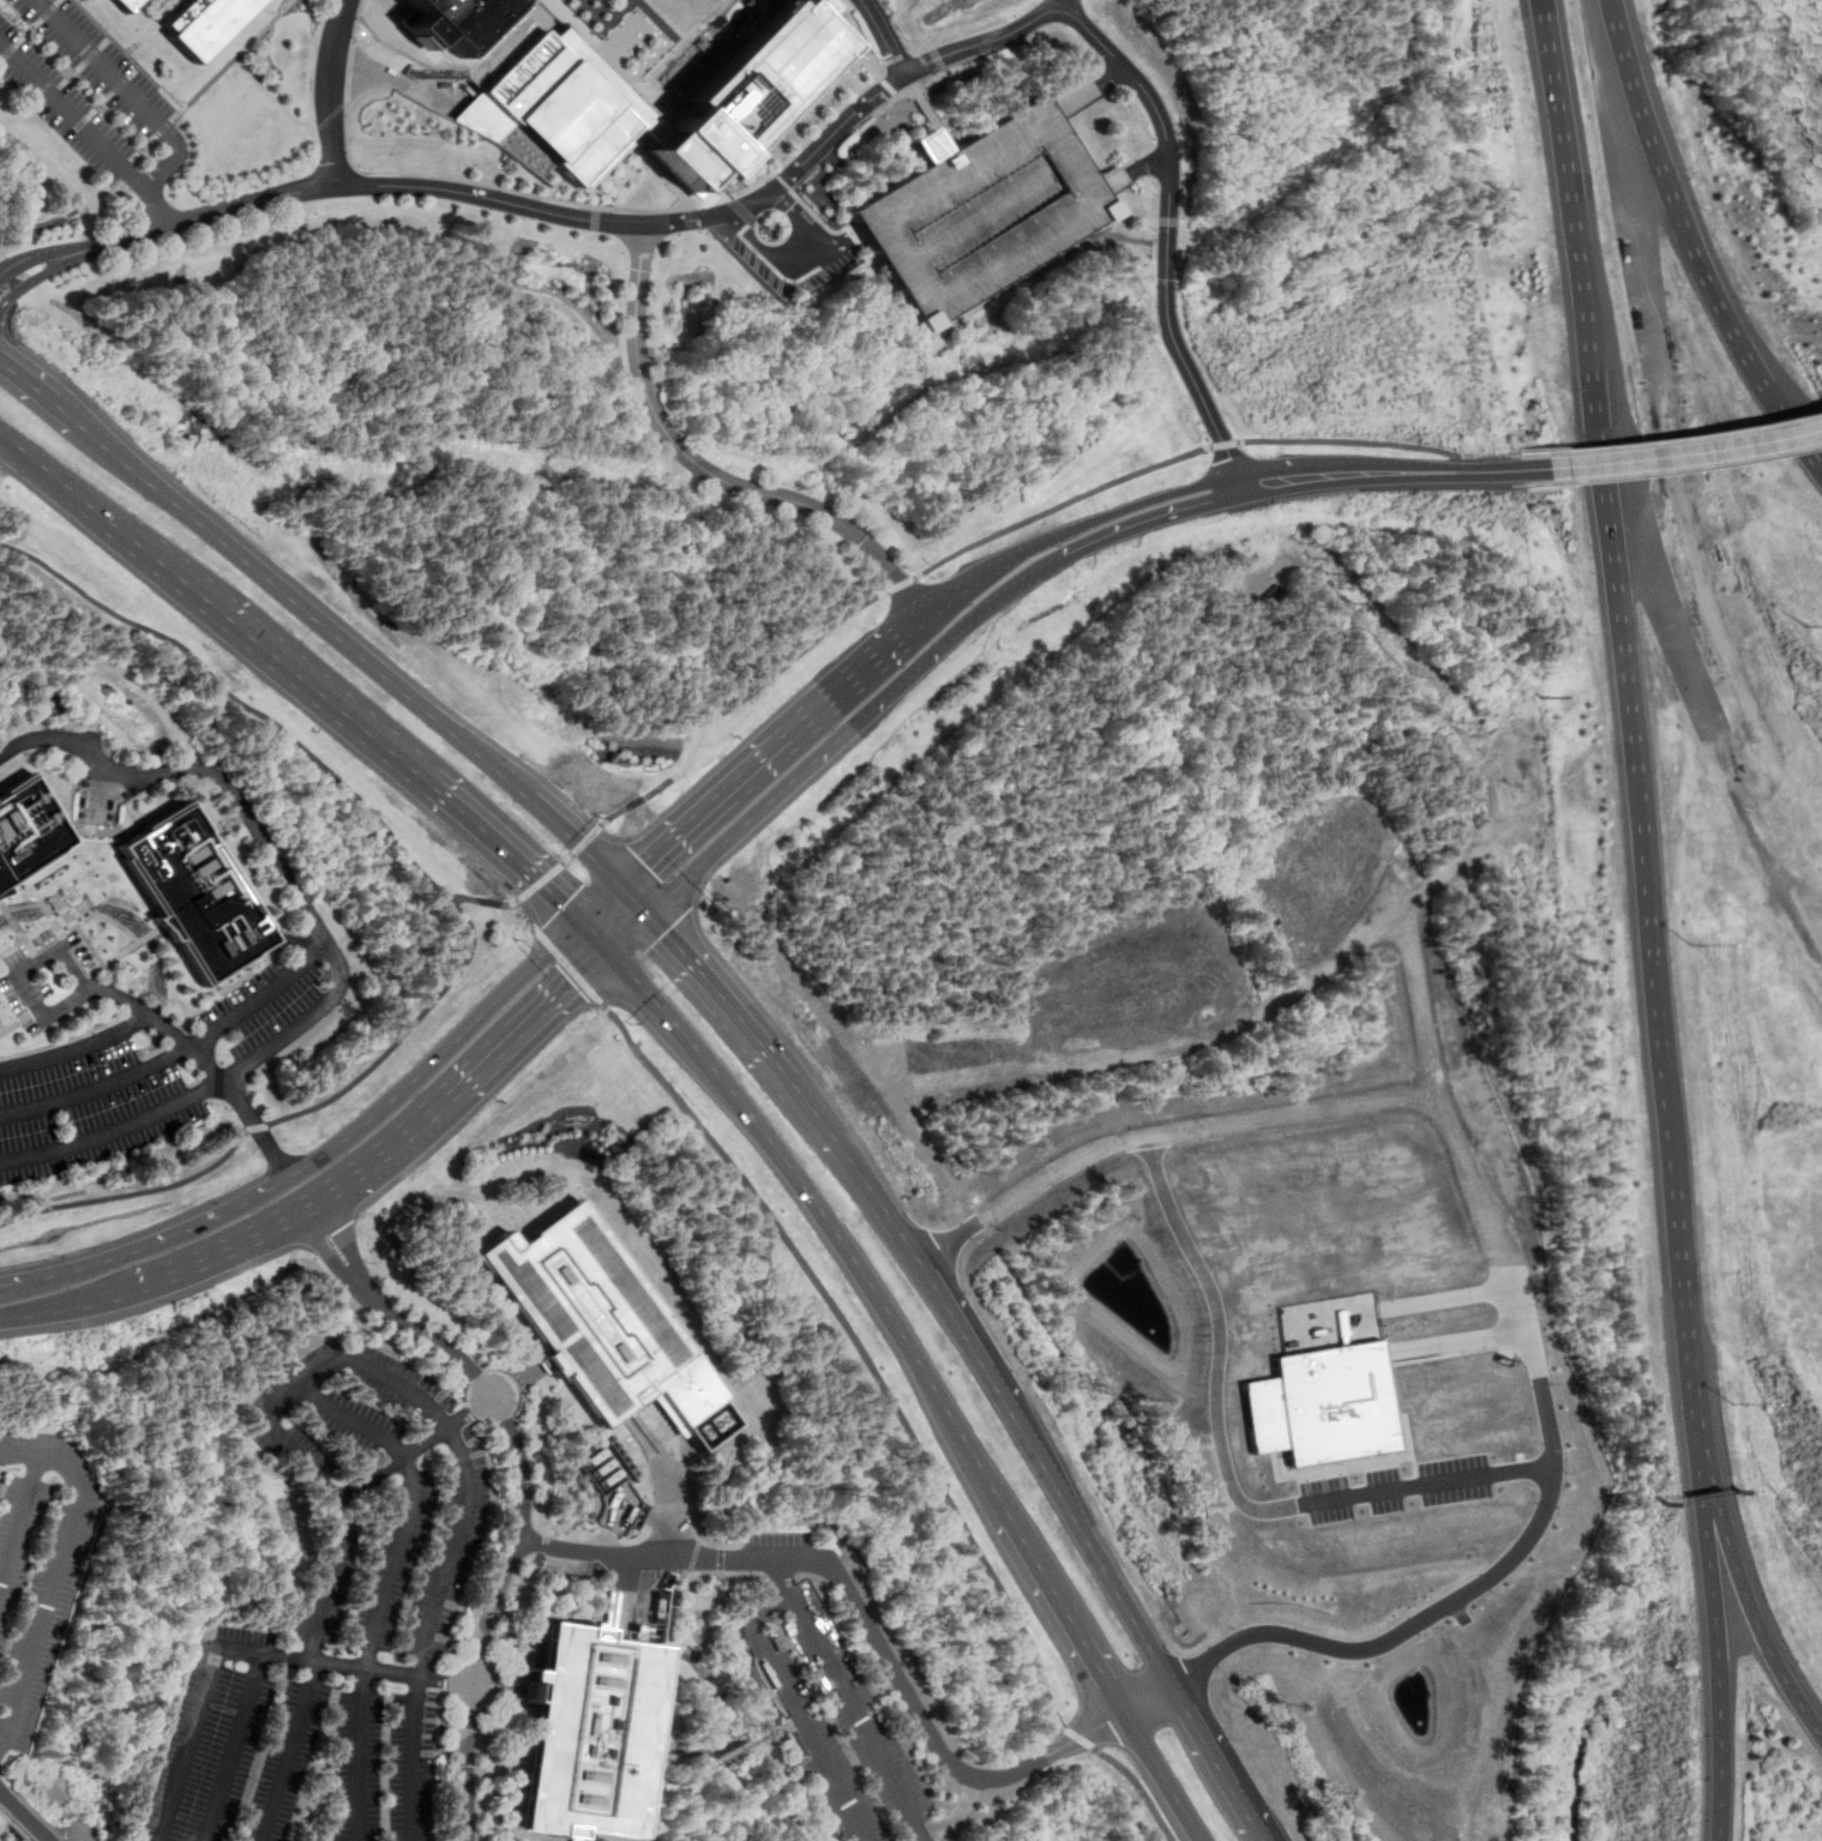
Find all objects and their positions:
building: (125, 5)
building: (456, 20)
building: (203, 22)
road: (883, 38)
parking lot: (82, 82)
road: (126, 89)
road: (335, 90)
building: (745, 96)
road: (1561, 97)
building: (561, 109)
road: (86, 126)
road: (1136, 172)
building: (981, 211)
parking lot: (981, 211)
road: (603, 219)
road: (1167, 231)
road: (1696, 237)
road: (840, 241)
road: (796, 252)
road: (42, 254)
road: (42, 276)
road: (1694, 435)
road: (1364, 441)
road: (1219, 444)
road: (1691, 451)
road: (1531, 453)
road: (1694, 464)
road: (705, 468)
road: (1509, 468)
road: (1379, 471)
road: (1271, 480)
road: (1537, 482)
road: (1056, 504)
road: (1151, 517)
road: (898, 582)
road: (996, 600)
street lamp: (1815, 624)
road: (331, 627)
road: (902, 631)
road: (294, 668)
road: (734, 700)
road: (790, 781)
road: (73, 789)
road: (126, 804)
road: (1646, 805)
road: (366, 807)
building: (28, 830)
road: (587, 838)
road: (567, 859)
traffic signals: (645, 862)
road: (540, 883)
building: (194, 892)
road: (601, 898)
road: (483, 901)
traffic signals: (565, 901)
road: (102, 912)
road: (512, 918)
road: (17, 922)
road: (122, 925)
road: (38, 929)
traffic signals: (666, 929)
road: (324, 935)
street lamp: (1697, 943)
road: (13, 945)
road: (41, 962)
road: (565, 963)
traffic signals: (573, 981)
road: (269, 988)
road: (1429, 998)
road: (160, 1001)
road: (80, 1022)
road: (13, 1024)
road: (2, 1031)
road: (199, 1039)
road: (64, 1041)
road: (1187, 1042)
road: (77, 1049)
parking lot: (139, 1051)
road: (97, 1088)
road: (257, 1126)
road: (259, 1129)
road: (115, 1131)
road: (341, 1145)
road: (359, 1173)
road: (132, 1192)
road: (452, 1221)
road: (1508, 1239)
road: (19, 1282)
road: (1445, 1296)
building: (585, 1311)
road: (1467, 1338)
road: (862, 1347)
road: (921, 1360)
road: (981, 1360)
road: (522, 1379)
road: (686, 1385)
road: (303, 1388)
road: (541, 1395)
building: (1324, 1403)
road: (414, 1450)
building: (609, 1463)
road: (1225, 1470)
road: (669, 1484)
road: (687, 1485)
road: (523, 1487)
parking lot: (1399, 1488)
road: (22, 1526)
road: (700, 1557)
parking lot: (38, 1564)
road: (59, 1574)
road: (708, 1574)
road: (784, 1580)
road: (386, 1586)
road: (642, 1589)
road: (1738, 1594)
road: (464, 1613)
road: (611, 1613)
parking lot: (337, 1619)
road: (1707, 1628)
road: (878, 1638)
road: (395, 1672)
road: (506, 1687)
road: (519, 1695)
road: (886, 1707)
road: (796, 1709)
road: (818, 1709)
road: (440, 1715)
road: (862, 1719)
road: (444, 1721)
parking lot: (841, 1723)
road: (4, 1729)
building: (589, 1734)
road: (1080, 1738)
road: (235, 1747)
road: (290, 1751)
road: (718, 1757)
road: (321, 1774)
road: (486, 1786)
road: (1139, 1787)
road: (7, 1799)
road: (960, 1811)
road: (2, 1812)
road: (28, 1823)
road: (16, 1828)
road: (577, 1839)

